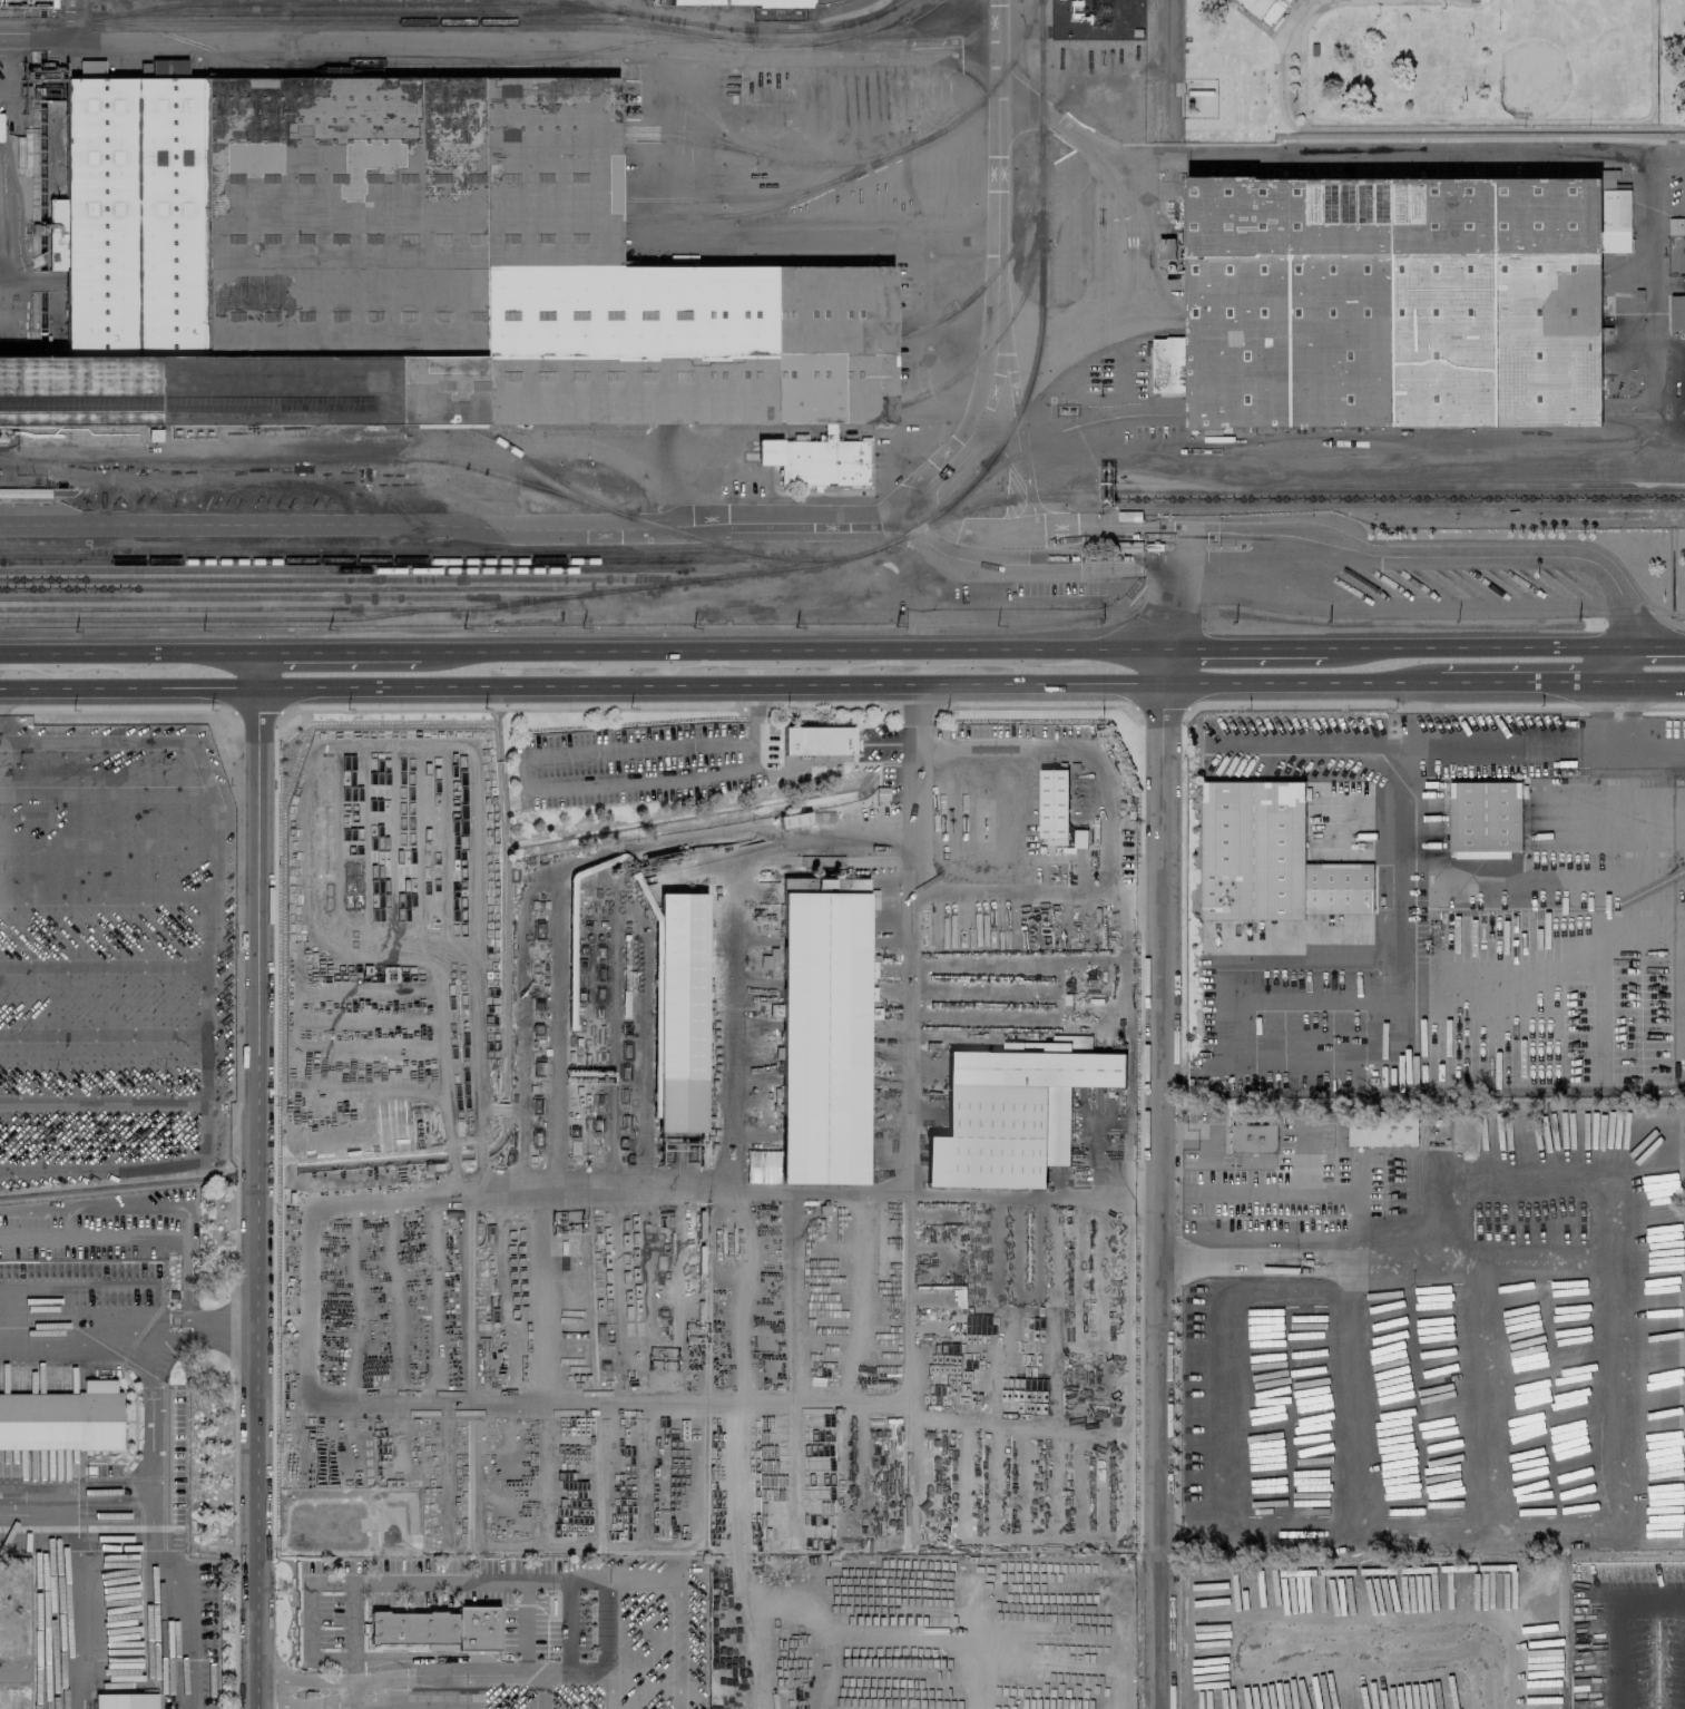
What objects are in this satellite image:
railway: (454, 3)
building: (762, 8)
building: (1264, 8)
railway: (365, 13)
railway: (421, 21)
road: (78, 22)
road: (501, 42)
road: (1281, 58)
park: (1573, 58)
track: (1477, 60)
railway: (486, 62)
road: (1170, 65)
park: (1491, 66)
railway: (635, 139)
railway: (810, 164)
railway: (678, 198)
railway: (725, 215)
building: (1675, 225)
building: (55, 233)
building: (406, 268)
road: (27, 282)
building: (1394, 299)
railway: (960, 305)
road: (1644, 310)
building: (1677, 312)
railway: (1266, 329)
railway: (864, 336)
railway: (961, 372)
railway: (1294, 416)
building: (154, 434)
railway: (26, 458)
railway: (415, 460)
railway: (541, 469)
railway: (1326, 489)
building: (25, 492)
railway: (1286, 499)
road: (725, 524)
railway: (385, 550)
road: (1433, 553)
railway: (844, 555)
railway: (409, 560)
railway: (400, 569)
railway: (746, 573)
railway: (363, 578)
railway: (326, 588)
railway: (288, 598)
railway: (226, 608)
road: (1650, 645)
road: (1470, 646)
road: (1243, 648)
road: (790, 650)
road: (128, 652)
road: (337, 652)
road: (1616, 663)
road: (256, 670)
road: (1650, 680)
road: (1525, 681)
road: (1297, 682)
road: (580, 686)
road: (1305, 701)
road: (1045, 703)
road: (827, 704)
road: (1159, 705)
road: (1547, 705)
road: (1672, 705)
road: (504, 706)
road: (126, 709)
road: (913, 709)
road: (255, 711)
road: (754, 711)
road: (4, 712)
road: (751, 727)
building: (816, 740)
road: (914, 741)
road: (1071, 749)
road: (1652, 749)
road: (1424, 753)
building: (1052, 804)
building: (1483, 816)
road: (1623, 843)
building: (1267, 858)
road: (964, 889)
road: (1398, 948)
road: (1309, 958)
road: (522, 1027)
building: (822, 1031)
building: (678, 1045)
building: (1012, 1110)
road: (1159, 1122)
building: (1382, 1129)
building: (1253, 1139)
road: (1302, 1158)
road: (910, 1166)
road: (1521, 1175)
road: (256, 1199)
road: (1311, 1253)
road: (1250, 1263)
road: (77, 1300)
road: (204, 1324)
road: (1364, 1339)
road: (1218, 1414)
building: (62, 1418)
road: (1614, 1451)
road: (147, 1486)
road: (640, 1576)
road: (596, 1578)
road: (460, 1579)
road: (180, 1600)
road: (75, 1607)
road: (523, 1628)
building: (438, 1629)
road: (567, 1629)
road: (624, 1629)
road: (658, 1629)
road: (353, 1639)
road: (10, 1672)
road: (596, 1679)
road: (339, 1690)
road: (697, 1696)
building: (125, 1700)

